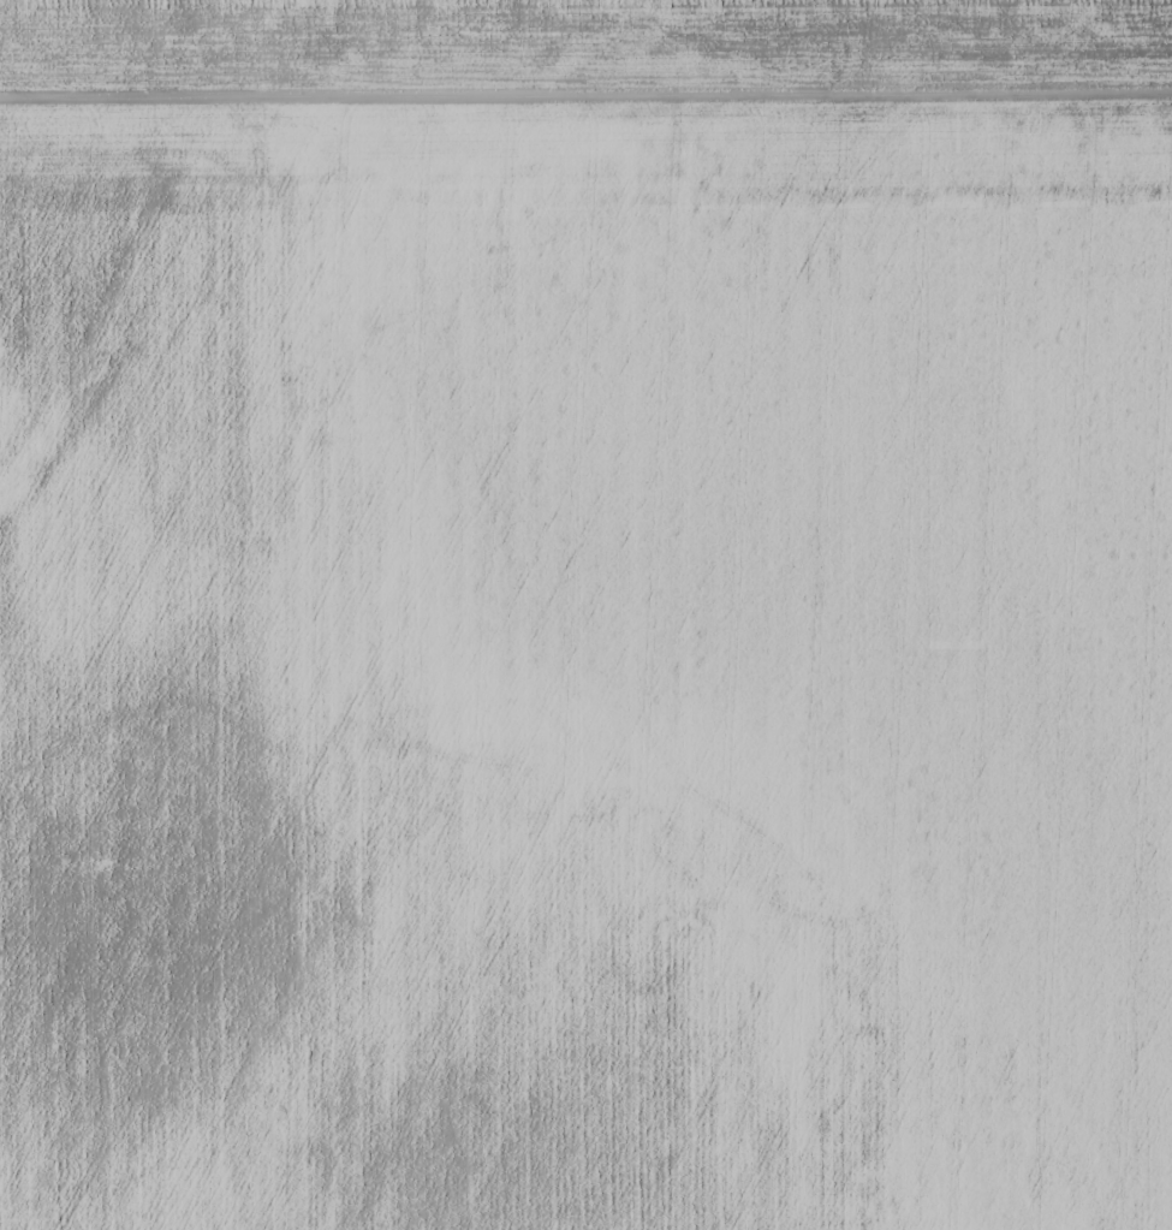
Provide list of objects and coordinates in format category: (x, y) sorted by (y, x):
road: (585, 108)

